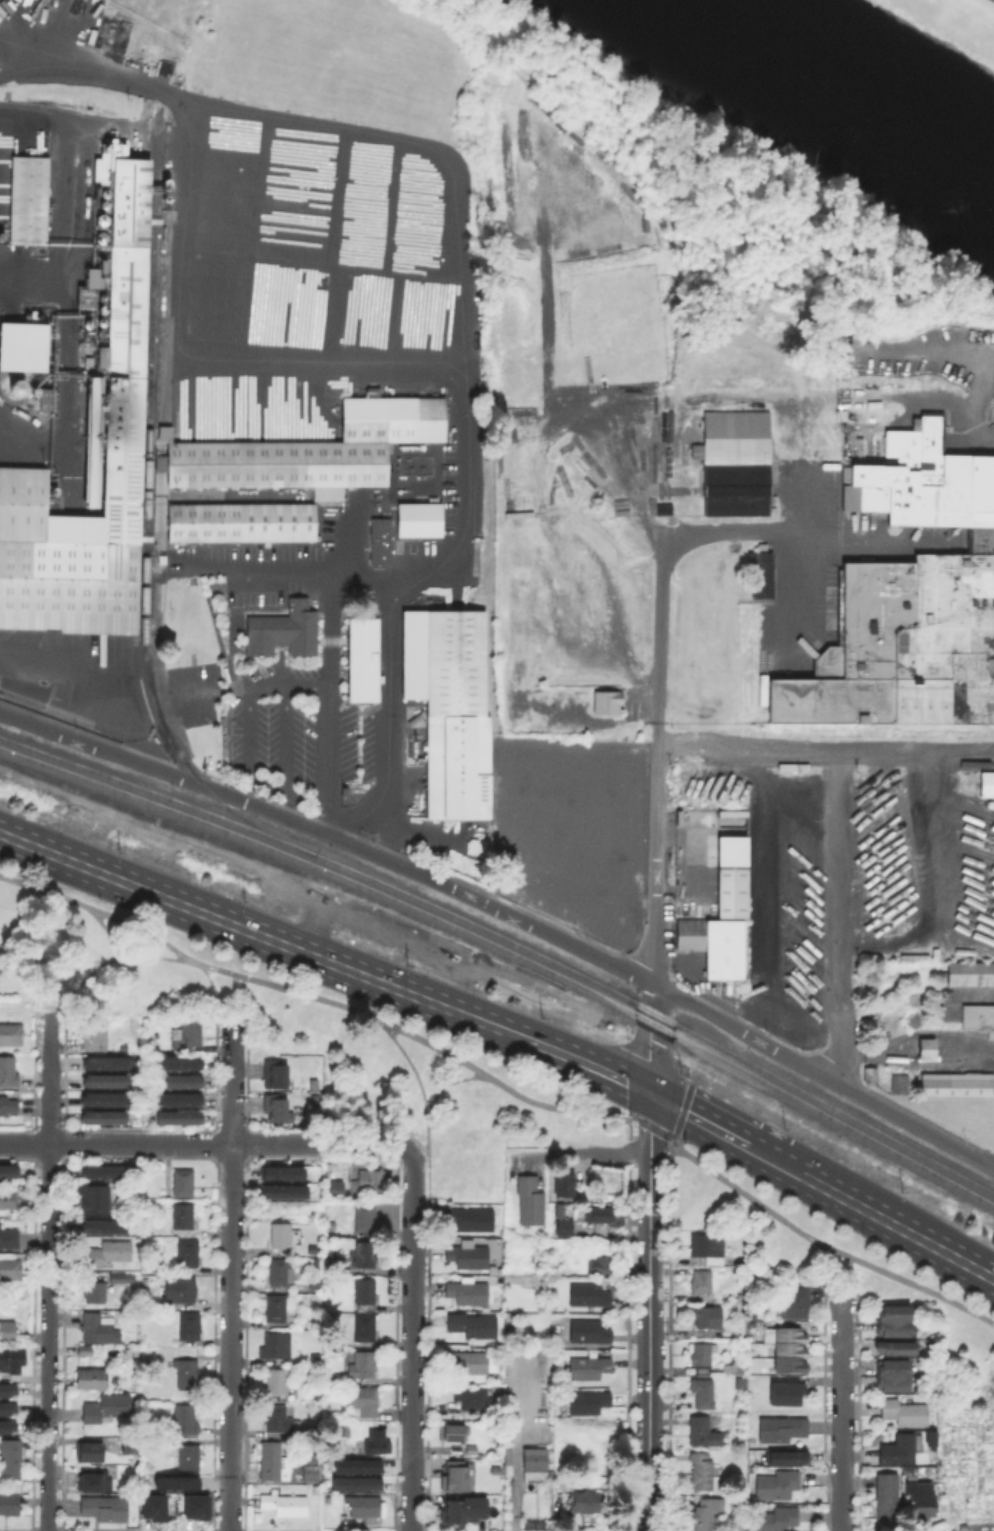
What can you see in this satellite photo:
park: (953, 22)
building: (25, 198)
building: (91, 276)
road: (452, 305)
building: (124, 310)
building: (22, 344)
road: (971, 352)
road: (192, 355)
building: (15, 386)
building: (46, 398)
building: (91, 441)
building: (312, 447)
building: (735, 462)
building: (417, 518)
railway: (145, 519)
building: (240, 521)
road: (686, 534)
building: (379, 540)
road: (370, 572)
building: (759, 574)
road: (329, 585)
road: (795, 586)
building: (909, 599)
building: (280, 629)
building: (361, 657)
road: (273, 687)
road: (93, 688)
building: (607, 702)
building: (448, 705)
road: (287, 740)
road: (750, 749)
road: (916, 753)
railway: (117, 778)
building: (985, 783)
railway: (116, 788)
railway: (287, 866)
road: (43, 889)
road: (508, 912)
road: (837, 917)
road: (657, 921)
road: (139, 929)
building: (723, 929)
road: (107, 930)
road: (246, 930)
road: (156, 958)
building: (971, 976)
road: (85, 980)
road: (284, 988)
railway: (620, 994)
road: (216, 999)
railway: (619, 1004)
building: (874, 1016)
building: (978, 1020)
building: (10, 1033)
building: (191, 1034)
building: (97, 1035)
road: (433, 1046)
building: (928, 1049)
road: (572, 1058)
building: (104, 1061)
building: (177, 1062)
road: (411, 1064)
building: (9, 1072)
building: (871, 1074)
building: (277, 1075)
building: (105, 1080)
building: (177, 1080)
building: (900, 1083)
road: (448, 1084)
building: (314, 1086)
building: (957, 1087)
traffic signals: (650, 1095)
building: (177, 1098)
building: (102, 1099)
building: (8, 1106)
road: (555, 1108)
building: (278, 1110)
building: (102, 1116)
building: (177, 1117)
road: (678, 1126)
road: (652, 1127)
road: (428, 1129)
road: (630, 1136)
road: (728, 1136)
road: (363, 1143)
road: (158, 1144)
road: (419, 1147)
road: (583, 1152)
building: (6, 1171)
building: (104, 1171)
building: (280, 1172)
building: (184, 1183)
building: (368, 1184)
building: (565, 1186)
building: (334, 1189)
building: (282, 1190)
building: (94, 1199)
building: (9, 1200)
building: (531, 1202)
building: (558, 1209)
building: (605, 1216)
building: (185, 1217)
building: (366, 1217)
building: (469, 1220)
building: (563, 1226)
building: (102, 1227)
road: (900, 1228)
building: (281, 1235)
building: (9, 1239)
road: (825, 1245)
building: (710, 1247)
building: (108, 1253)
building: (188, 1253)
building: (366, 1254)
building: (471, 1256)
building: (600, 1266)
building: (11, 1270)
road: (49, 1272)
building: (281, 1273)
road: (841, 1275)
road: (230, 1276)
building: (121, 1278)
building: (703, 1286)
building: (187, 1290)
building: (367, 1291)
building: (95, 1292)
building: (470, 1293)
building: (590, 1296)
building: (743, 1296)
building: (797, 1303)
building: (278, 1308)
road: (650, 1312)
building: (708, 1317)
building: (894, 1320)
building: (191, 1326)
building: (367, 1327)
building: (473, 1327)
building: (100, 1329)
building: (744, 1329)
building: (8, 1331)
building: (590, 1331)
road: (412, 1339)
building: (277, 1347)
building: (895, 1349)
building: (85, 1351)
building: (792, 1352)
building: (317, 1359)
building: (703, 1359)
building: (13, 1361)
building: (469, 1363)
building: (363, 1364)
building: (733, 1368)
building: (590, 1369)
building: (189, 1374)
building: (893, 1377)
building: (93, 1379)
building: (278, 1382)
building: (4, 1389)
building: (705, 1393)
building: (790, 1394)
building: (474, 1399)
building: (590, 1401)
building: (366, 1402)
building: (3, 1407)
building: (108, 1408)
building: (903, 1411)
road: (841, 1416)
building: (186, 1420)
building: (280, 1420)
building: (3, 1425)
building: (783, 1430)
building: (346, 1432)
building: (704, 1432)
building: (457, 1434)
building: (928, 1439)
building: (376, 1443)
building: (132, 1444)
building: (896, 1449)
building: (91, 1453)
building: (190, 1458)
building: (789, 1458)
building: (11, 1460)
building: (536, 1460)
building: (275, 1464)
building: (356, 1465)
building: (132, 1469)
building: (497, 1471)
building: (703, 1471)
building: (313, 1473)
building: (458, 1476)
building: (175, 1482)
building: (354, 1482)
building: (94, 1484)
building: (779, 1484)
building: (885, 1494)
building: (925, 1499)
building: (10, 1501)
building: (587, 1502)
building: (194, 1505)
building: (286, 1505)
building: (151, 1506)
building: (366, 1506)
building: (461, 1508)
building: (106, 1509)
building: (708, 1513)
building: (778, 1519)

